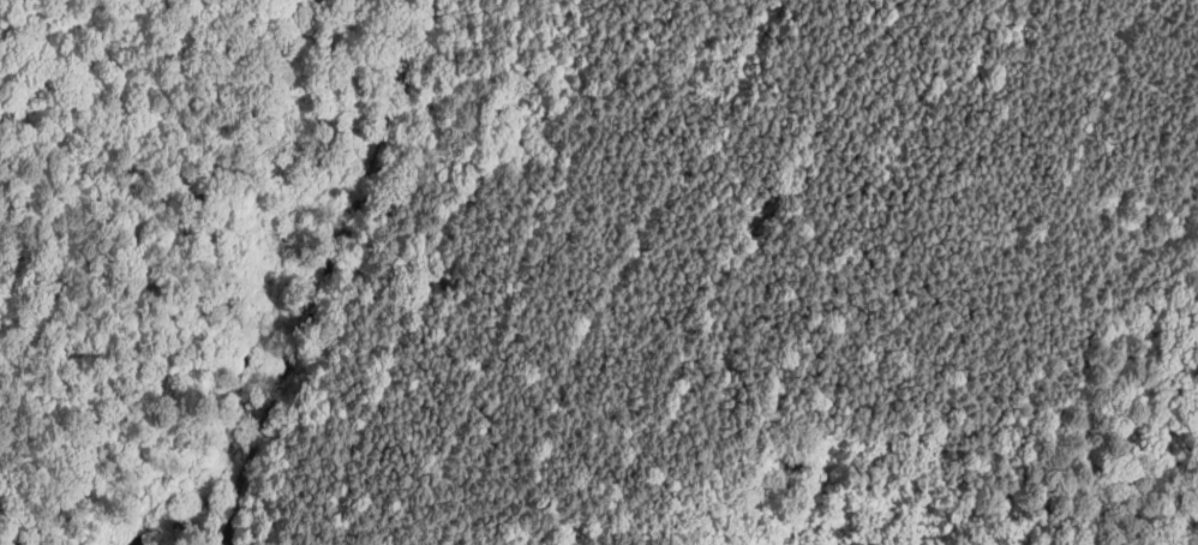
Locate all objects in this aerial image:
road: (514, 259)
road: (333, 270)
road: (127, 277)
road: (984, 311)
road: (1083, 361)
road: (624, 462)
road: (1132, 486)
road: (988, 522)

